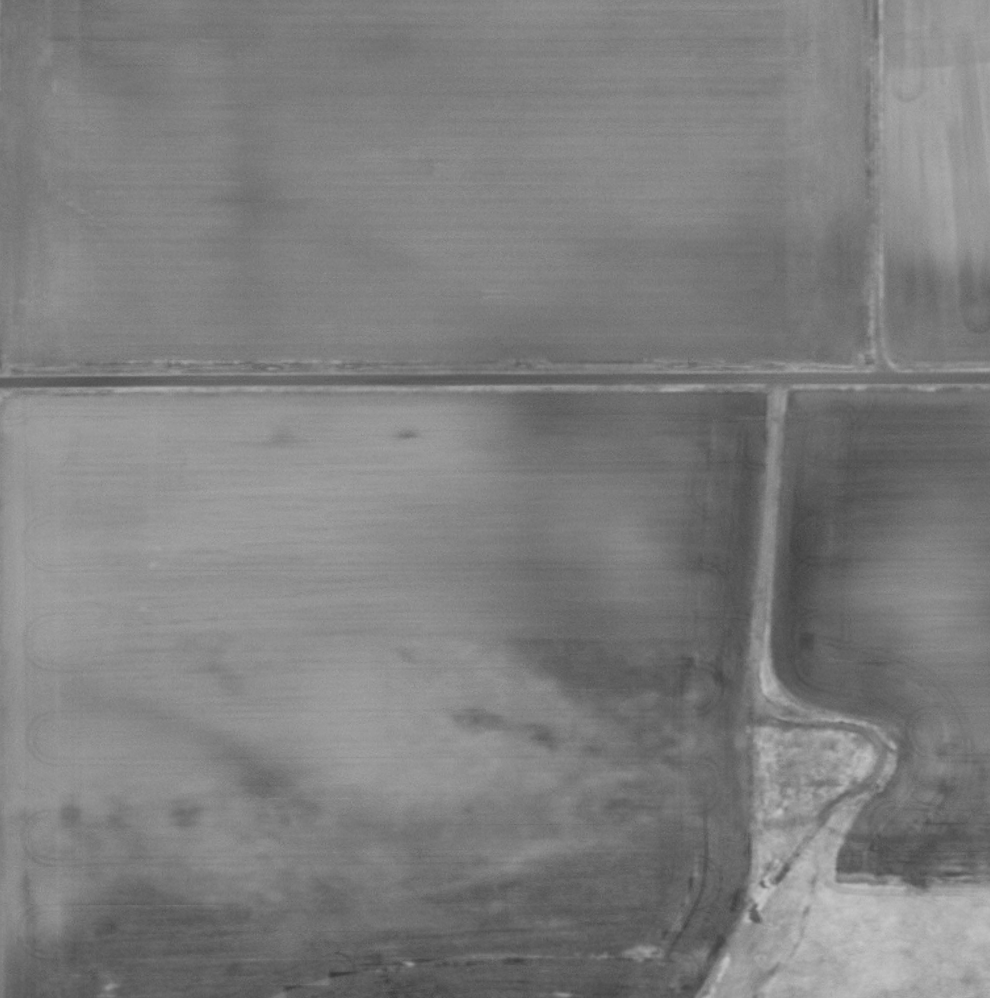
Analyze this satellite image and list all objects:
road: (879, 189)
road: (495, 379)
road: (765, 545)

